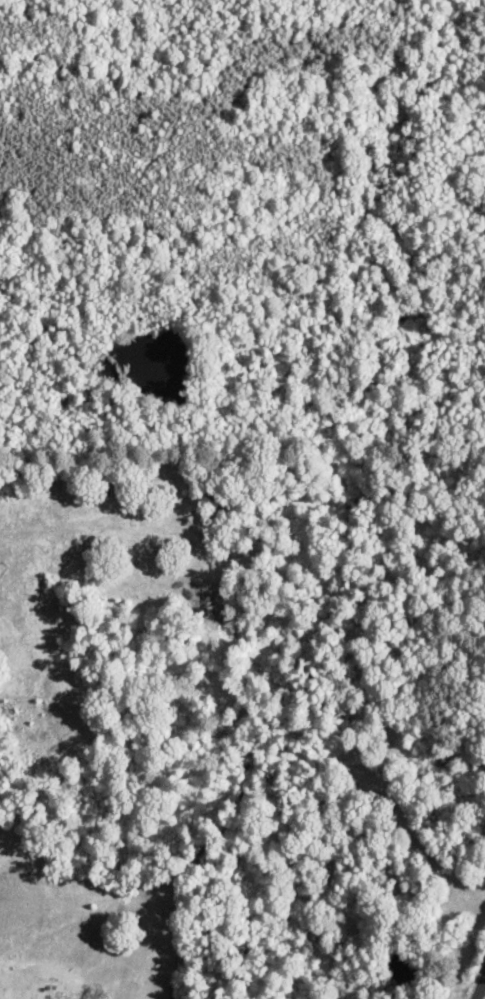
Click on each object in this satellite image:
road: (479, 986)

